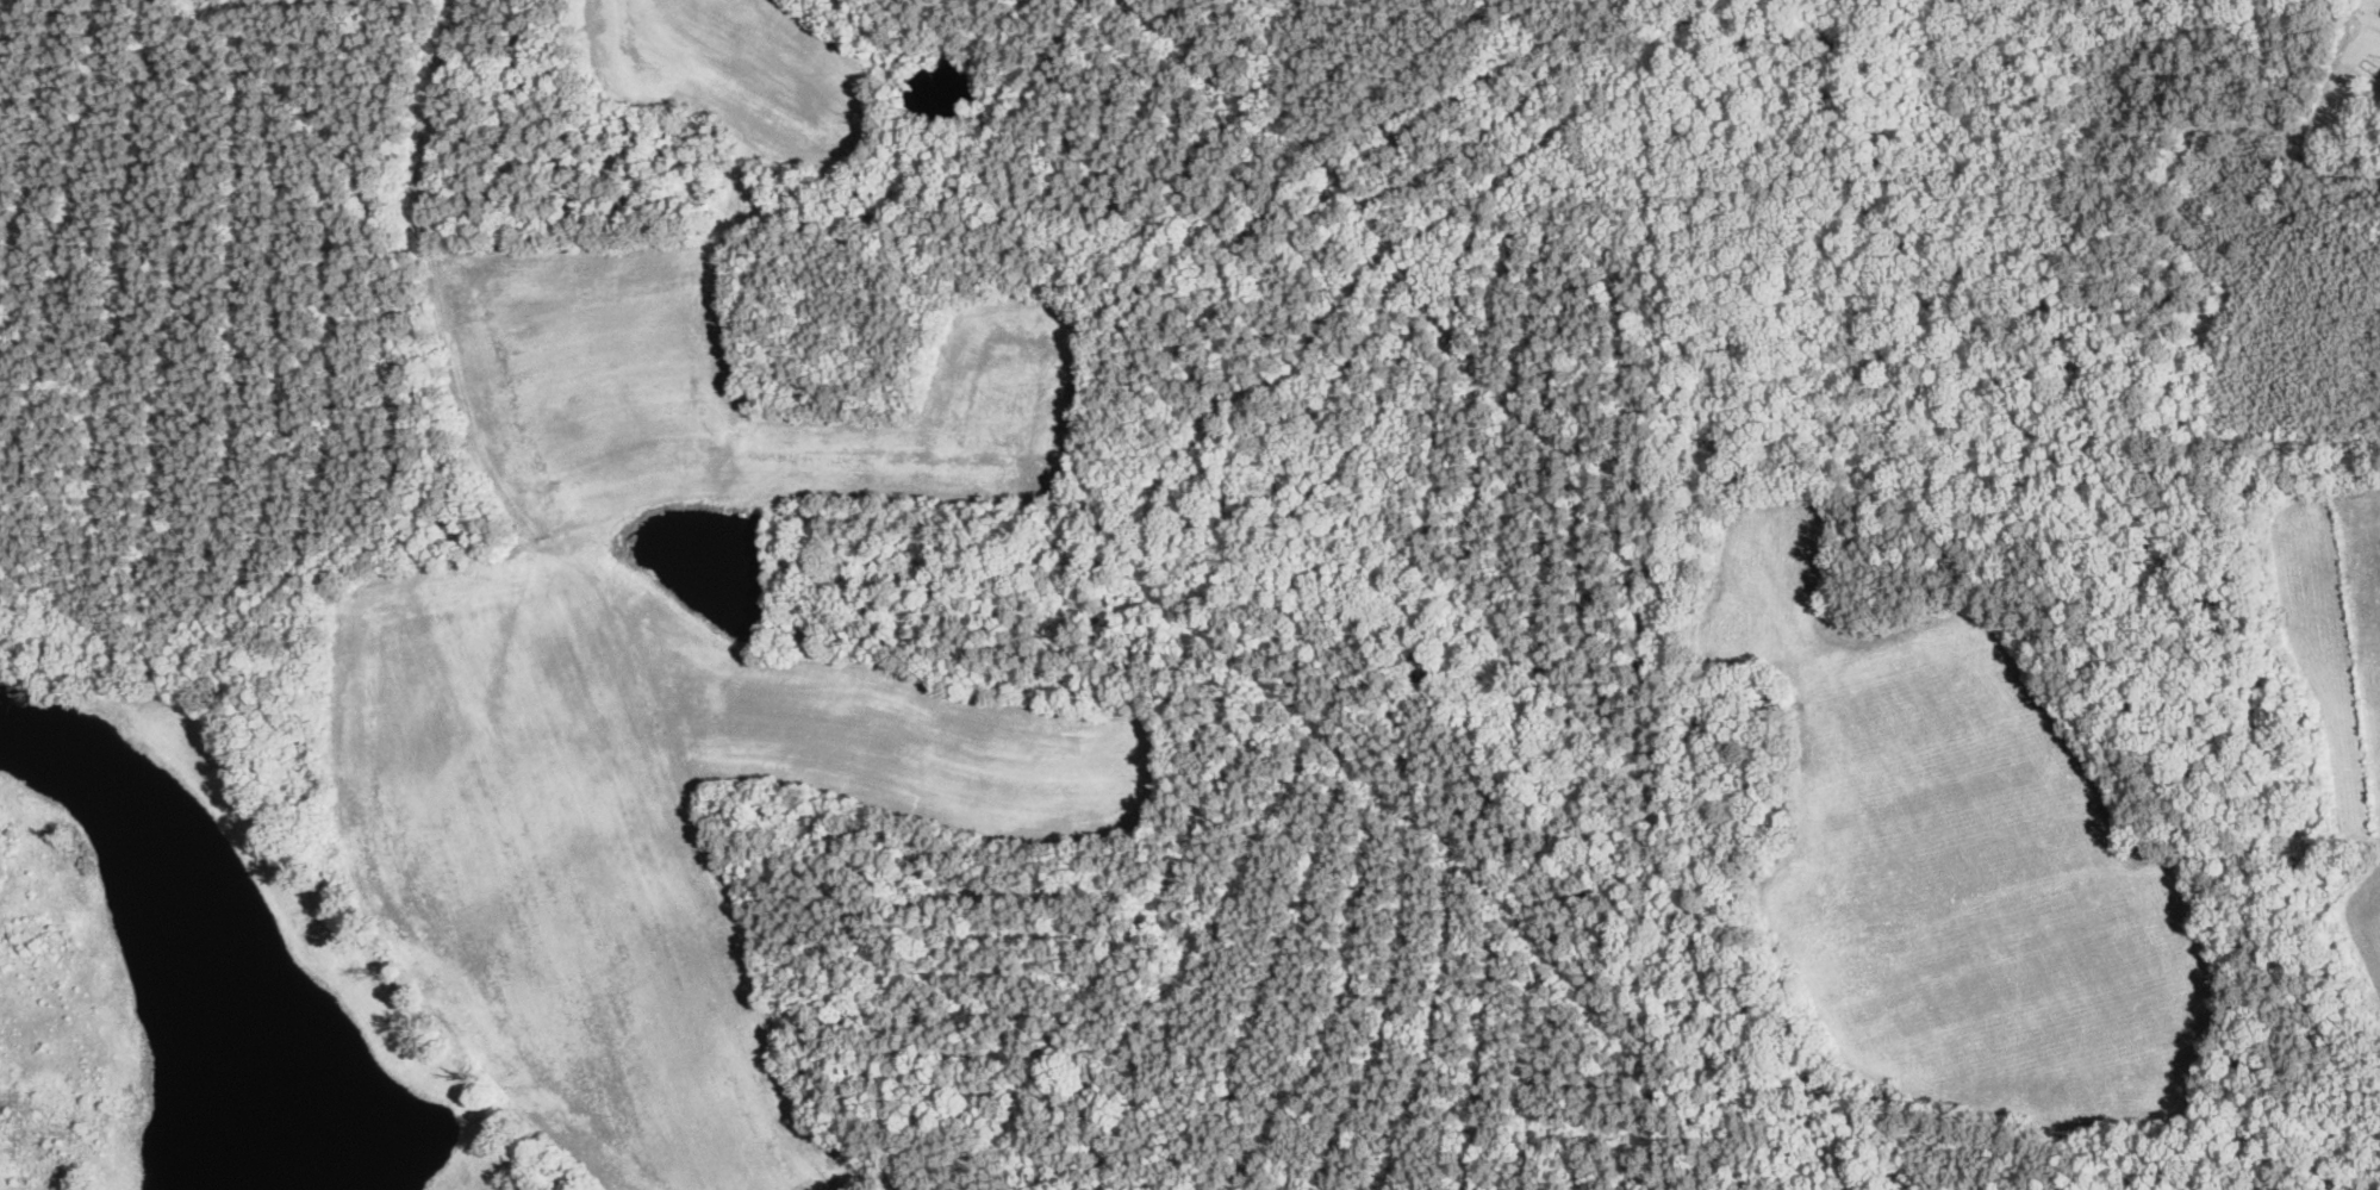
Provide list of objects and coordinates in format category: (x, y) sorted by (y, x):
road: (1768, 997)

